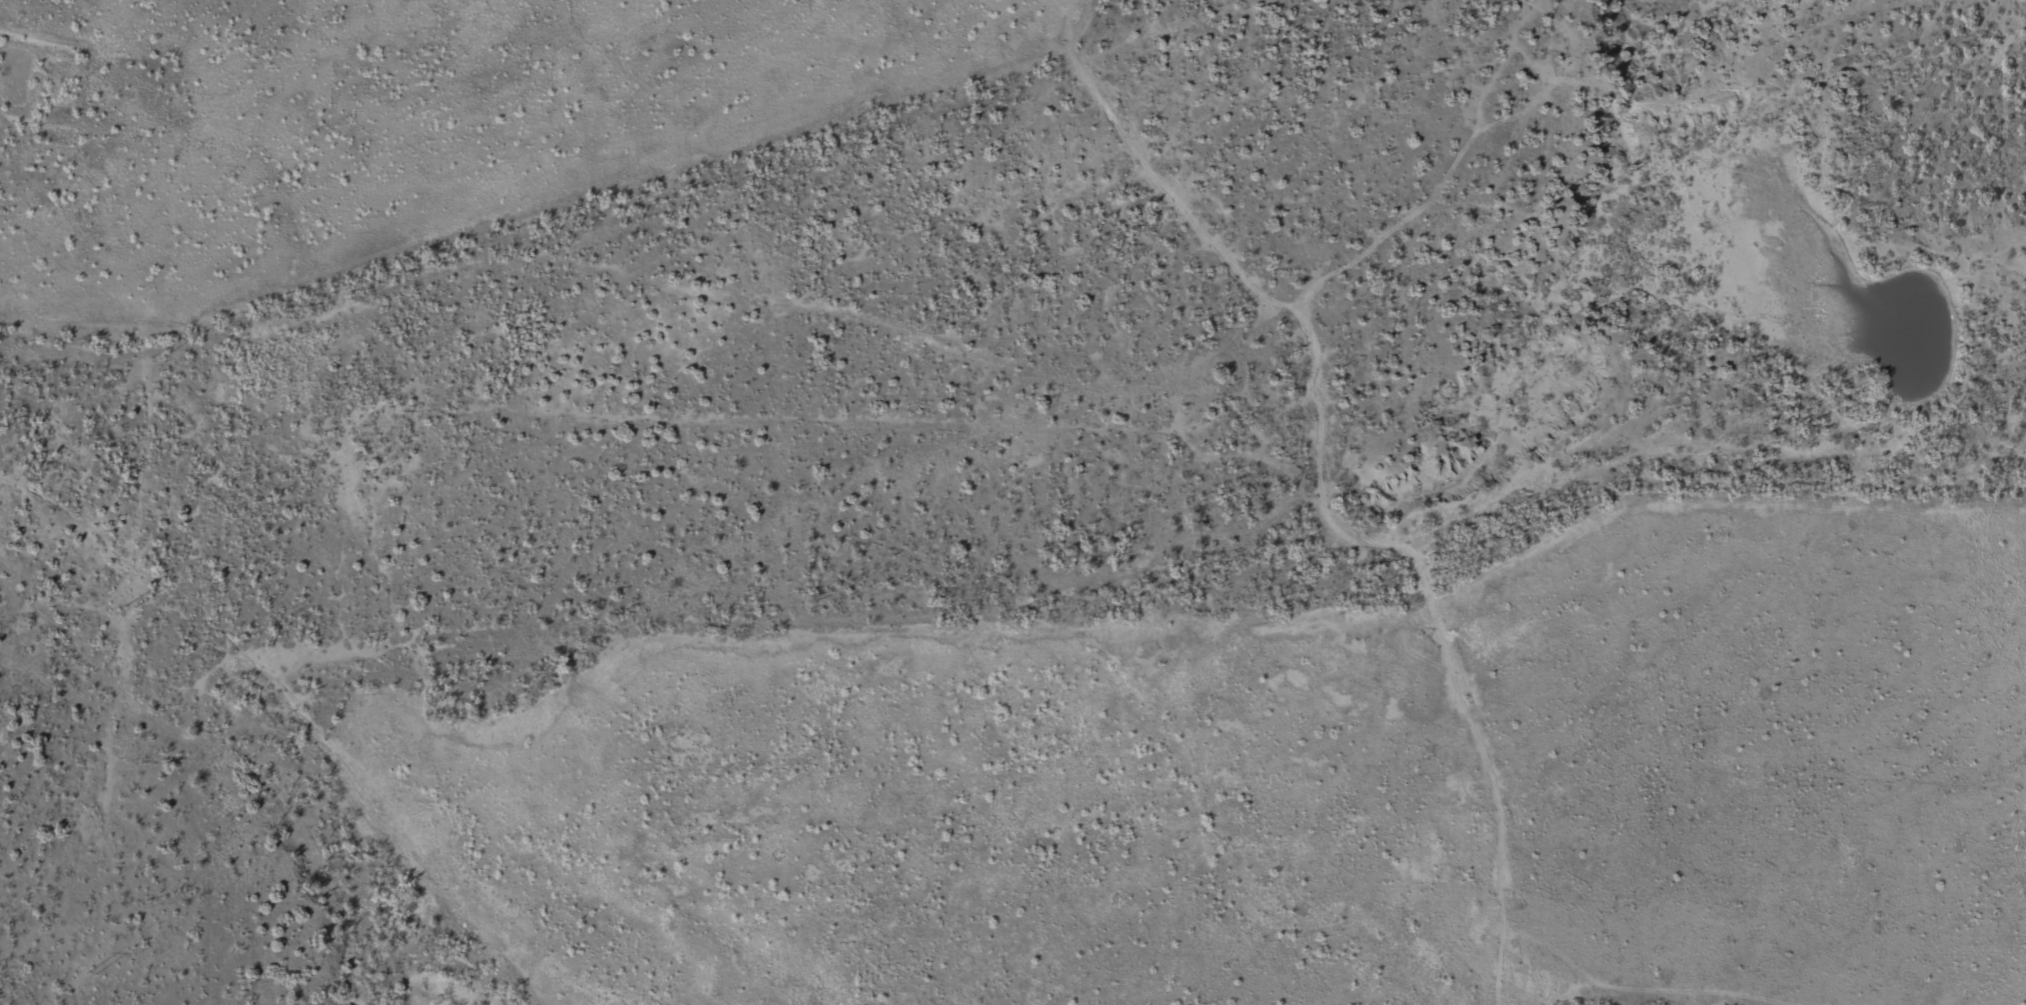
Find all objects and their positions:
road: (959, 352)
power tower: (157, 359)
power tower: (132, 607)
power tower: (91, 973)

